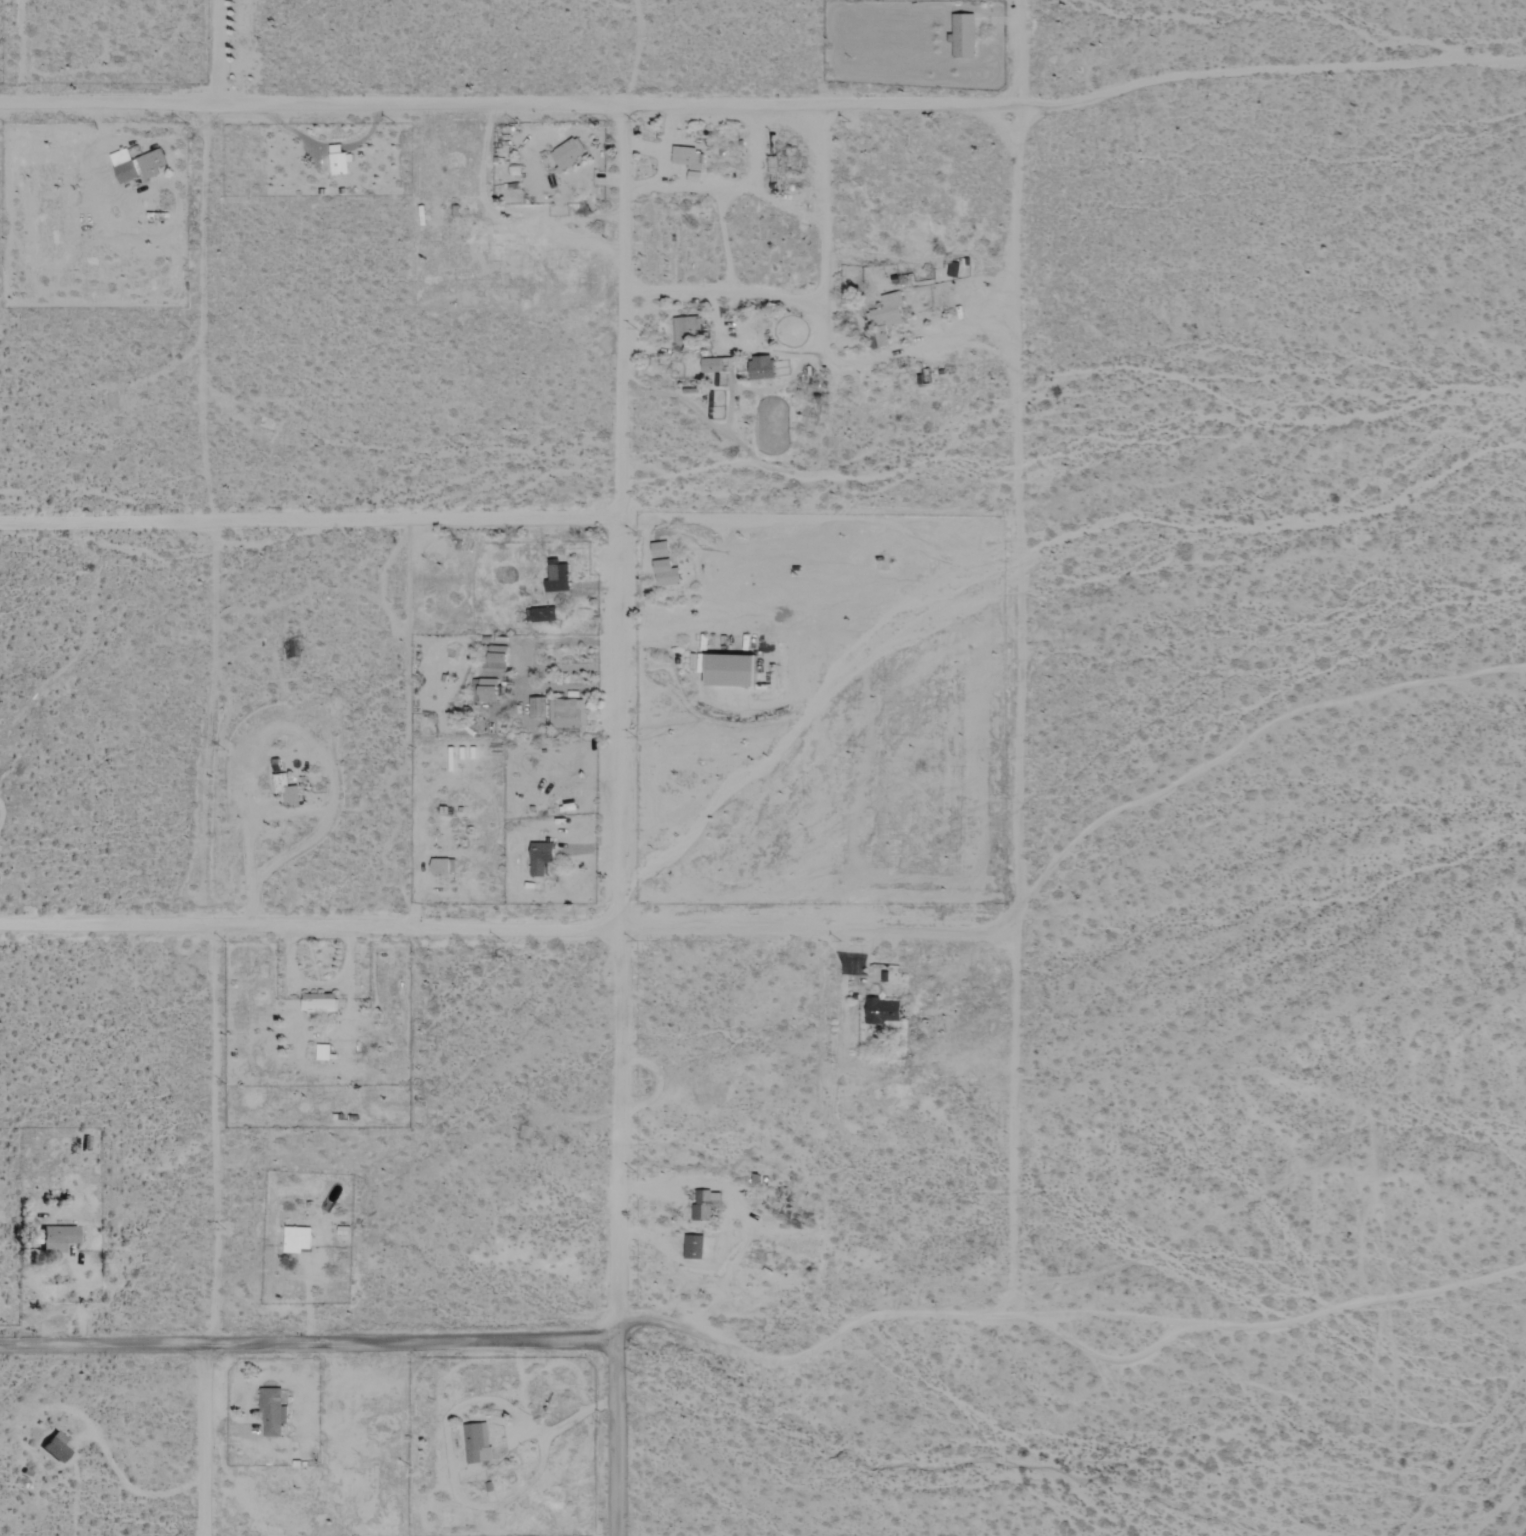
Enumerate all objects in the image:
building: (963, 36)
road: (408, 106)
road: (916, 108)
building: (567, 154)
building: (338, 160)
building: (688, 162)
building: (137, 165)
road: (817, 209)
building: (953, 270)
road: (207, 313)
building: (886, 318)
building: (688, 328)
building: (715, 365)
building: (761, 367)
building: (111, 400)
road: (307, 520)
building: (660, 549)
building: (666, 573)
building: (557, 582)
building: (543, 615)
building: (498, 657)
road: (1016, 657)
building: (732, 671)
building: (488, 690)
building: (537, 707)
building: (567, 713)
road: (615, 727)
building: (286, 790)
building: (540, 858)
building: (443, 867)
road: (419, 928)
building: (319, 1002)
building: (882, 1010)
road: (209, 1138)
building: (705, 1205)
building: (58, 1237)
building: (297, 1239)
building: (693, 1246)
road: (304, 1349)
road: (813, 1350)
building: (273, 1412)
building: (475, 1441)
road: (611, 1441)
road: (205, 1443)
building: (56, 1446)

